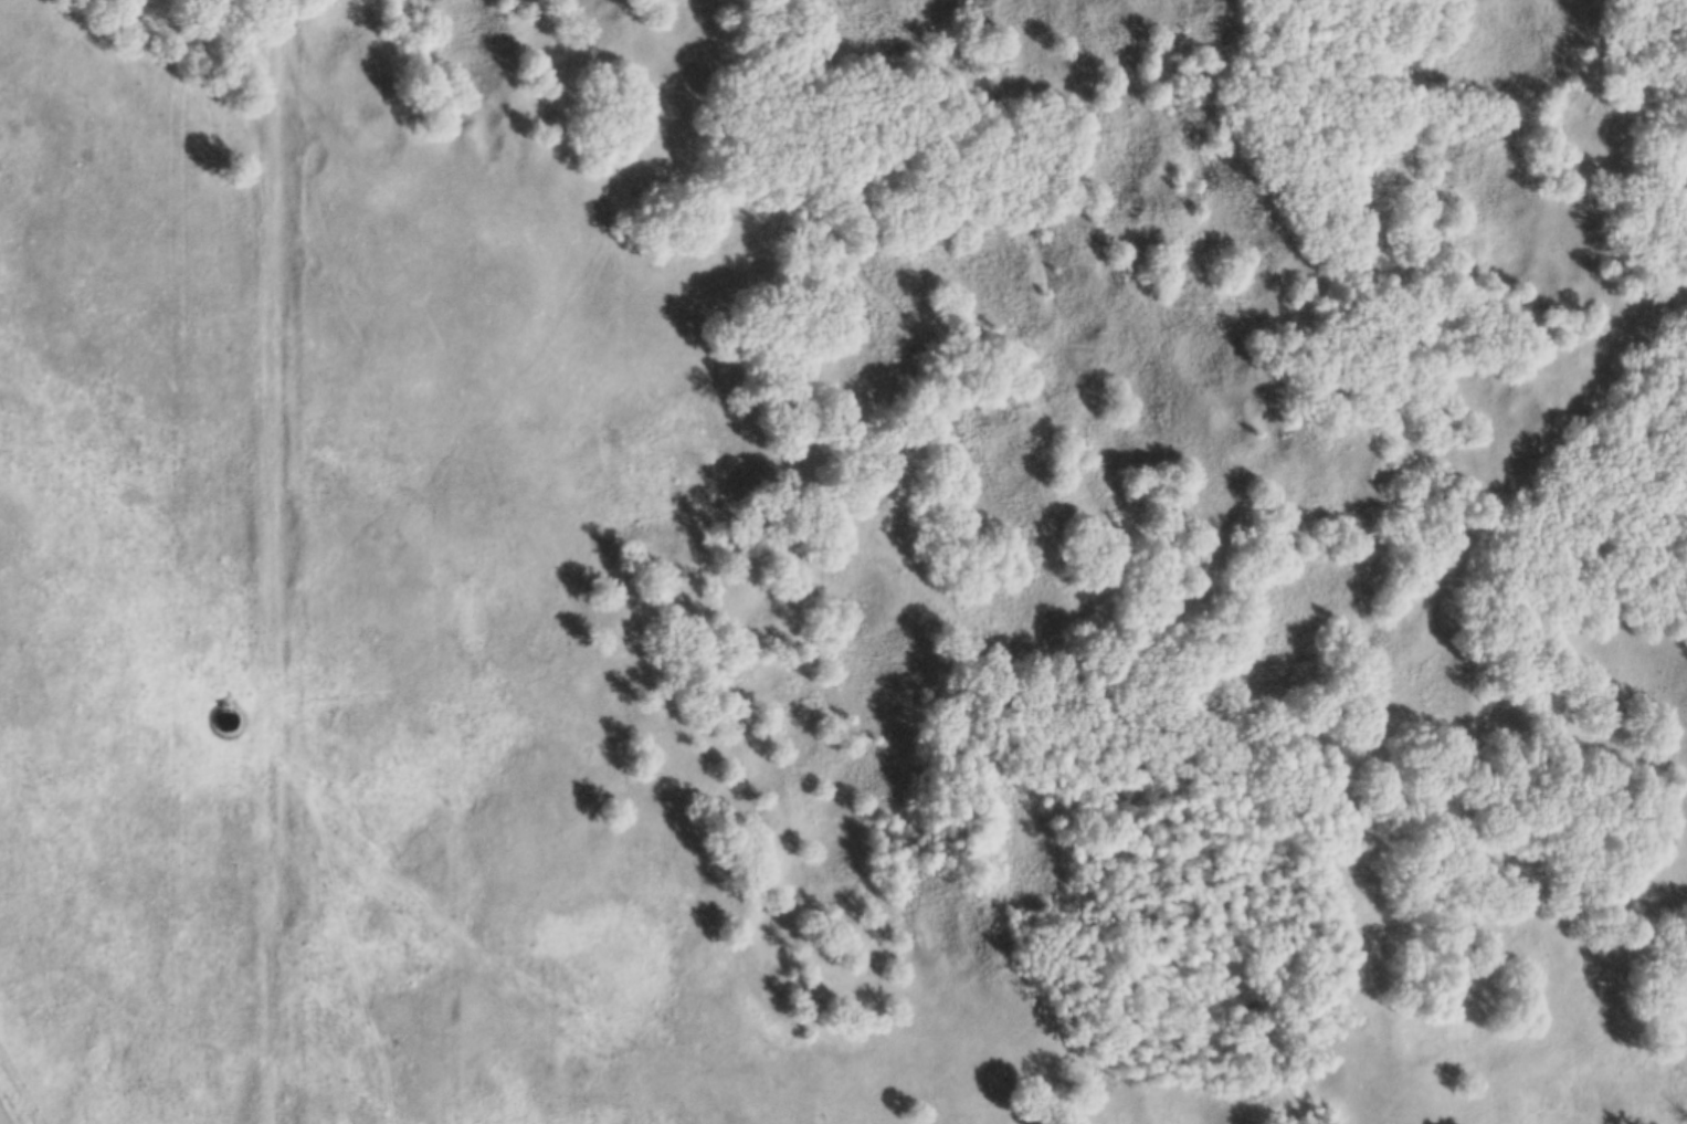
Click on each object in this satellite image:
road: (934, 603)

